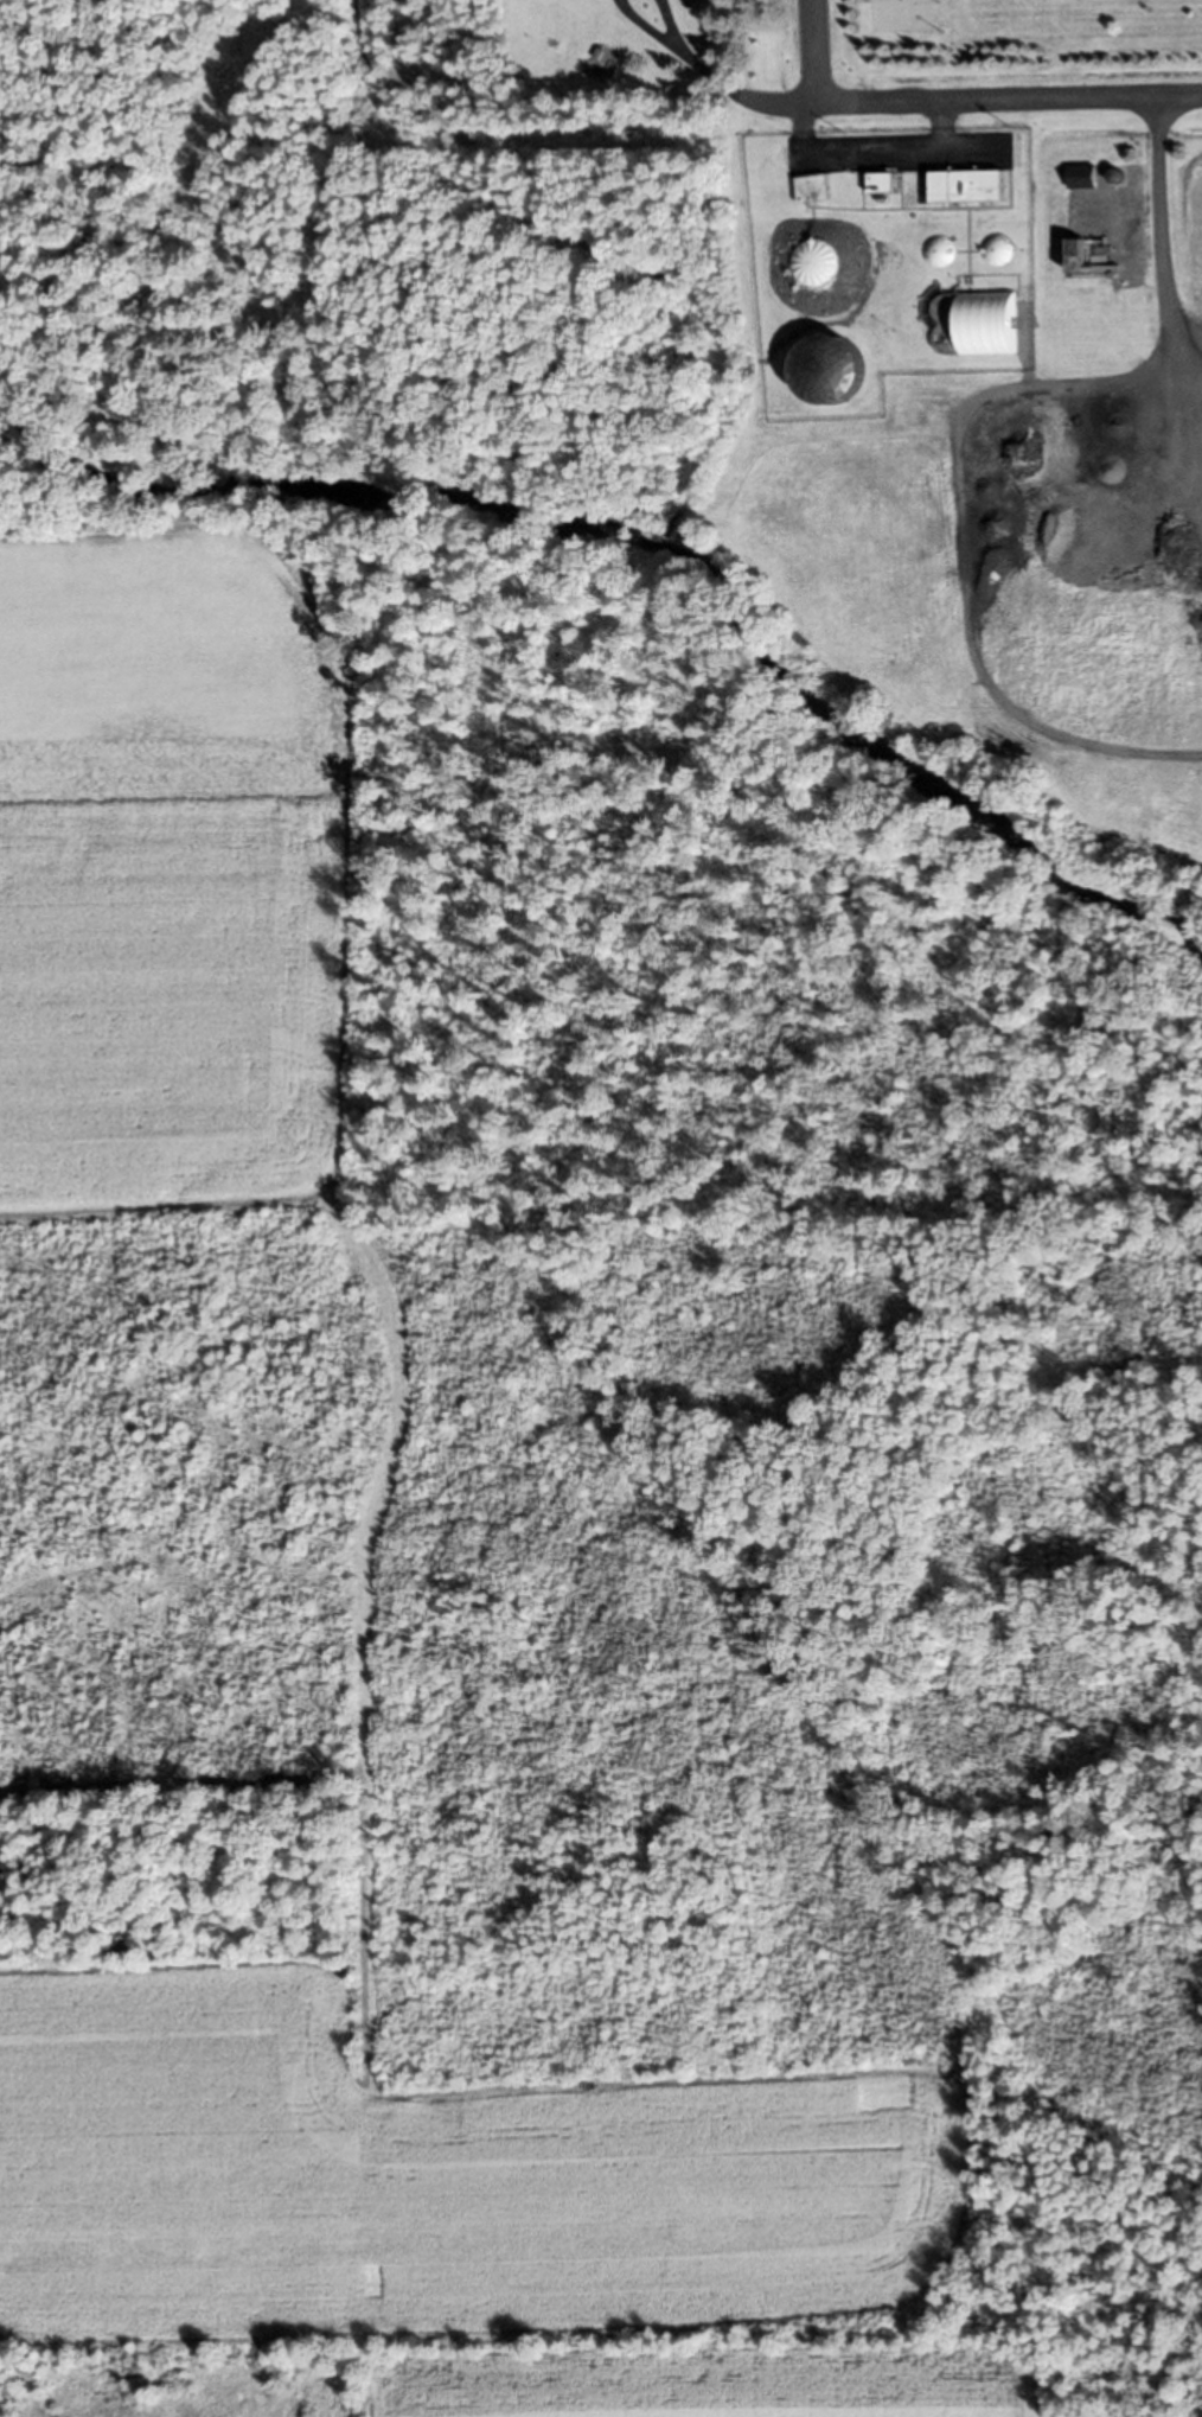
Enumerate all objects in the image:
park: (1015, 42)
road: (817, 51)
road: (970, 98)
building: (887, 181)
building: (974, 185)
building: (817, 186)
road: (1158, 229)
building: (1000, 249)
building: (944, 250)
building: (823, 262)
building: (837, 369)

